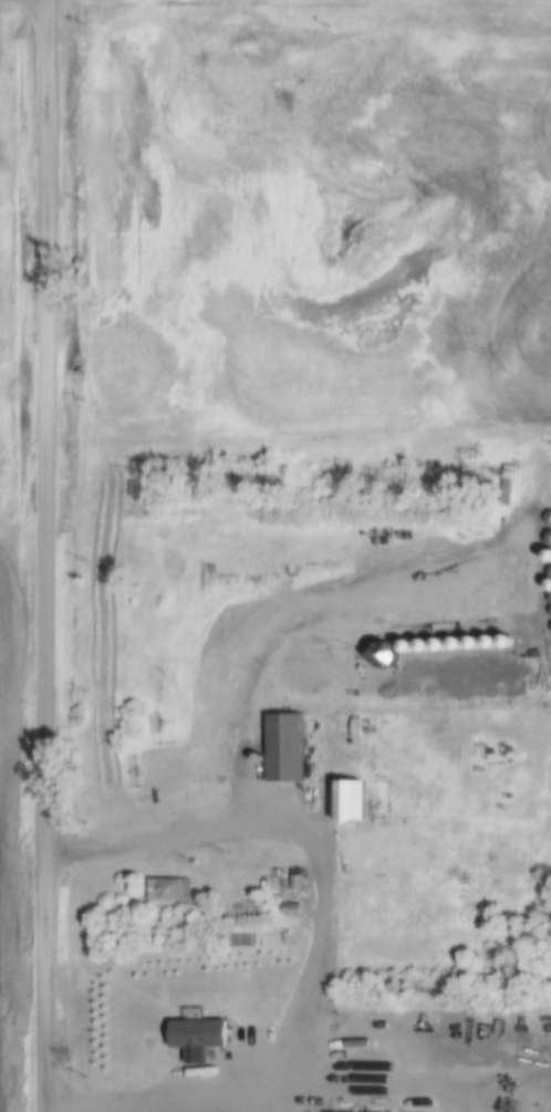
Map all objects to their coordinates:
building: (512, 484)
road: (44, 555)
building: (510, 636)
silo: (510, 636)
building: (493, 637)
silo: (493, 637)
building: (477, 638)
silo: (477, 638)
building: (444, 640)
silo: (444, 640)
building: (459, 640)
silo: (459, 640)
building: (427, 641)
silo: (427, 641)
building: (311, 666)
building: (365, 667)
building: (290, 742)
building: (262, 754)
silo: (262, 754)
building: (353, 796)
building: (175, 885)
road: (322, 931)
building: (205, 1029)
building: (350, 1111)

